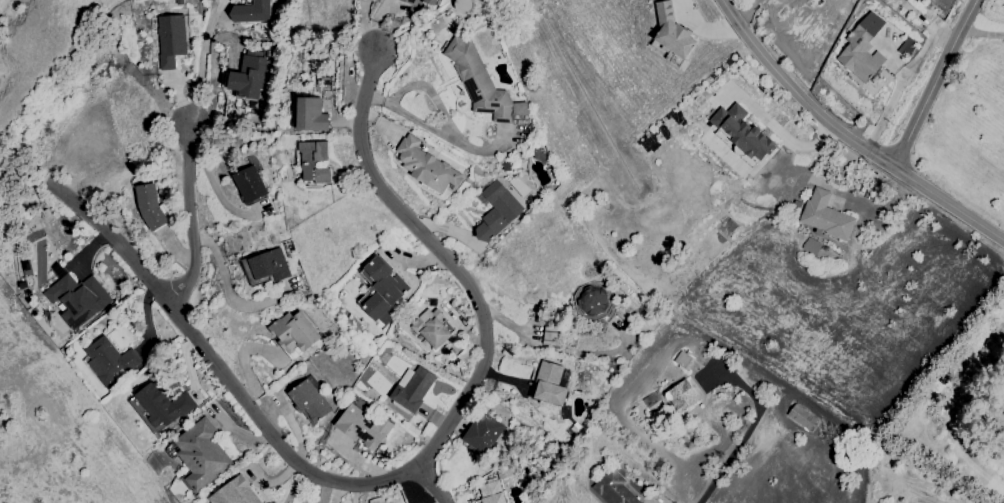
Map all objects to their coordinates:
building: (430, 1)
building: (412, 2)
building: (462, 5)
road: (745, 8)
building: (251, 12)
building: (672, 31)
road: (983, 33)
building: (172, 39)
building: (862, 47)
road: (199, 60)
building: (248, 77)
building: (479, 81)
road: (935, 82)
road: (426, 90)
building: (311, 115)
road: (435, 131)
road: (777, 131)
building: (741, 132)
road: (848, 137)
building: (314, 161)
building: (426, 165)
building: (250, 183)
road: (212, 185)
building: (151, 206)
building: (497, 210)
road: (187, 213)
building: (826, 215)
road: (445, 258)
building: (270, 265)
road: (226, 284)
building: (383, 288)
building: (78, 298)
building: (593, 300)
building: (431, 327)
building: (295, 332)
building: (549, 336)
road: (561, 348)
building: (110, 360)
building: (682, 360)
road: (221, 367)
building: (550, 383)
building: (413, 389)
building: (682, 395)
building: (309, 399)
building: (163, 403)
building: (653, 405)
building: (363, 426)
building: (483, 433)
building: (202, 453)
road: (731, 454)
road: (431, 484)
building: (614, 488)
building: (491, 491)
building: (235, 492)

